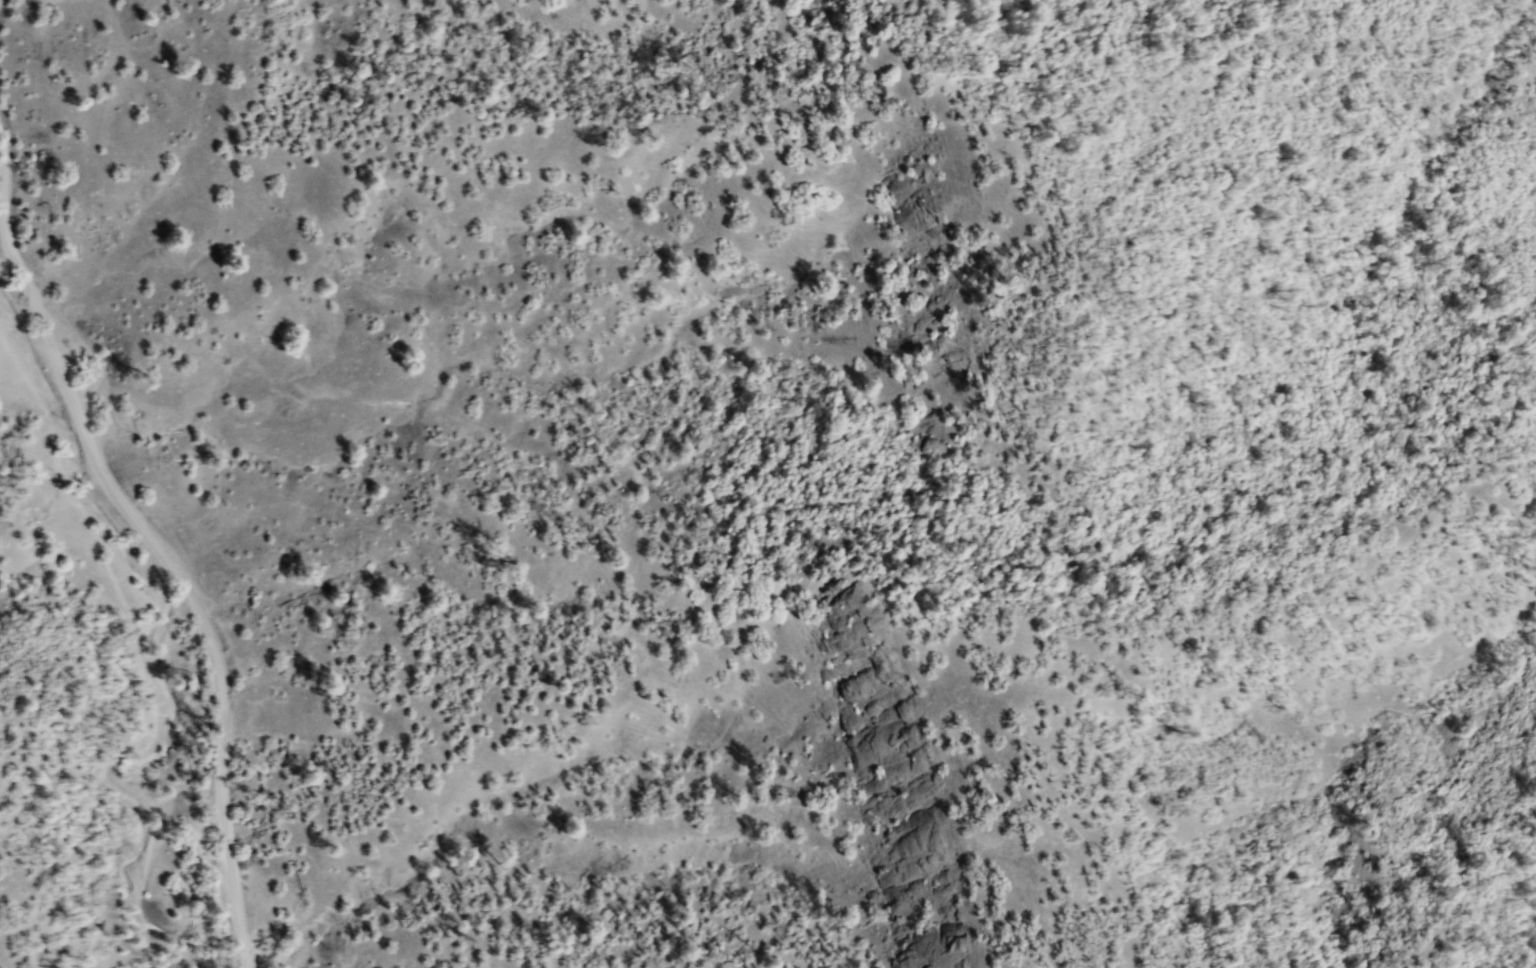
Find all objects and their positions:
road: (127, 488)

